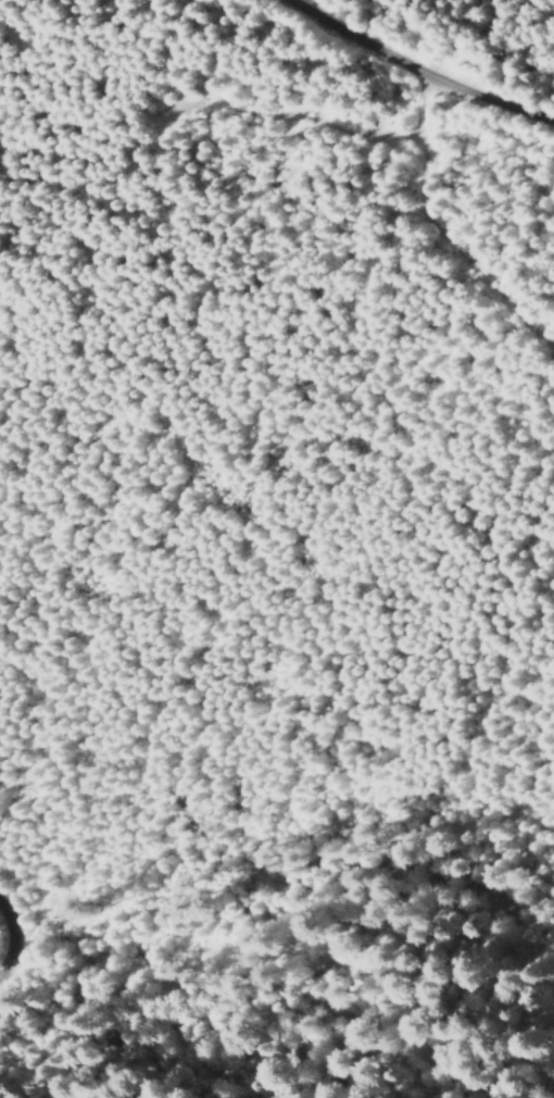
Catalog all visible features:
road: (417, 65)
road: (10, 940)

